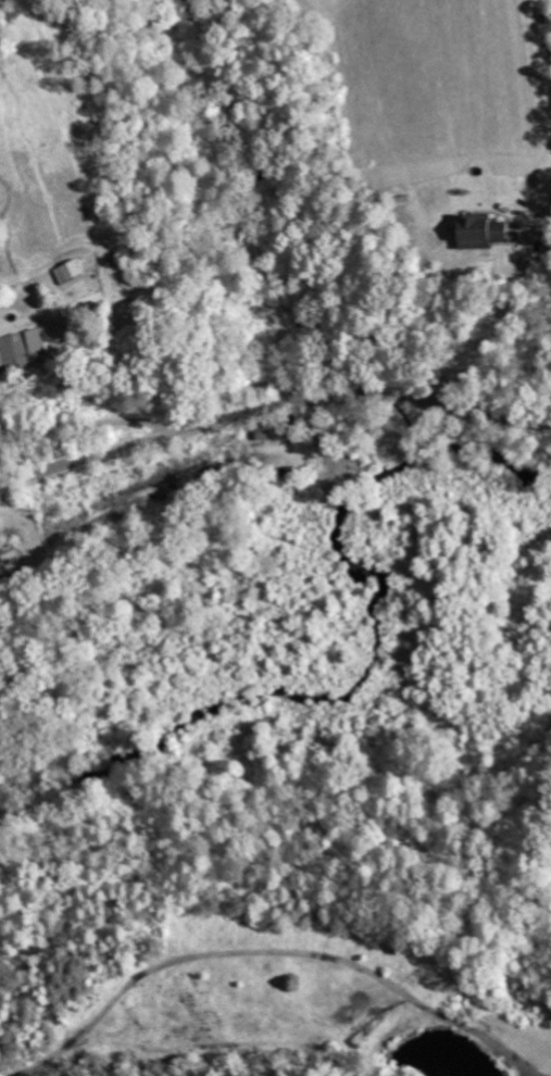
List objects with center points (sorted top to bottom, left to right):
building: (487, 230)
building: (73, 272)
building: (24, 348)
road: (379, 392)
road: (104, 424)
building: (274, 435)
road: (103, 452)

